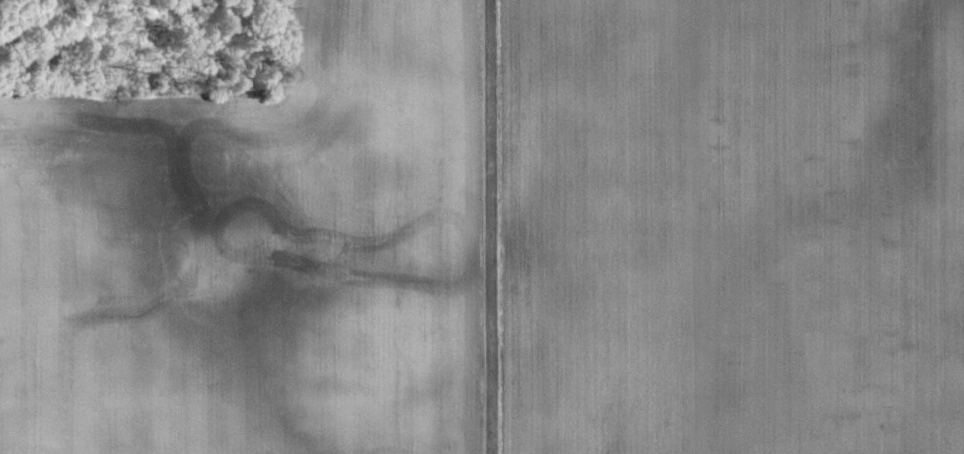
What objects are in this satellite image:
road: (488, 227)

